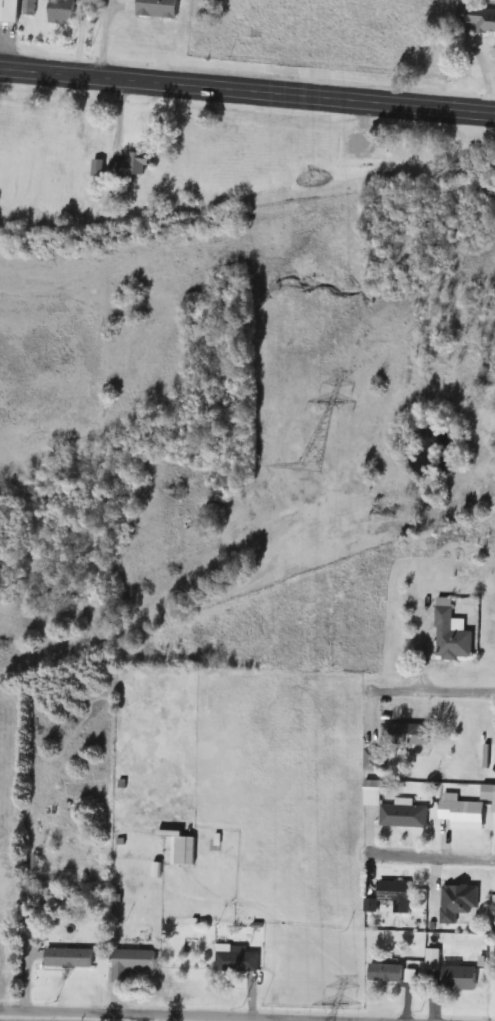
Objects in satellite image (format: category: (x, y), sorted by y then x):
building: (154, 9)
building: (7, 11)
building: (59, 11)
building: (473, 20)
road: (247, 90)
building: (134, 162)
power tower: (306, 467)
building: (449, 634)
road: (430, 691)
building: (402, 734)
building: (484, 794)
building: (401, 815)
building: (459, 815)
building: (179, 851)
road: (430, 857)
building: (392, 895)
building: (34, 897)
building: (455, 902)
building: (66, 958)
building: (429, 958)
building: (233, 959)
building: (127, 963)
building: (383, 972)
building: (455, 978)
road: (177, 1015)
road: (148, 1018)

